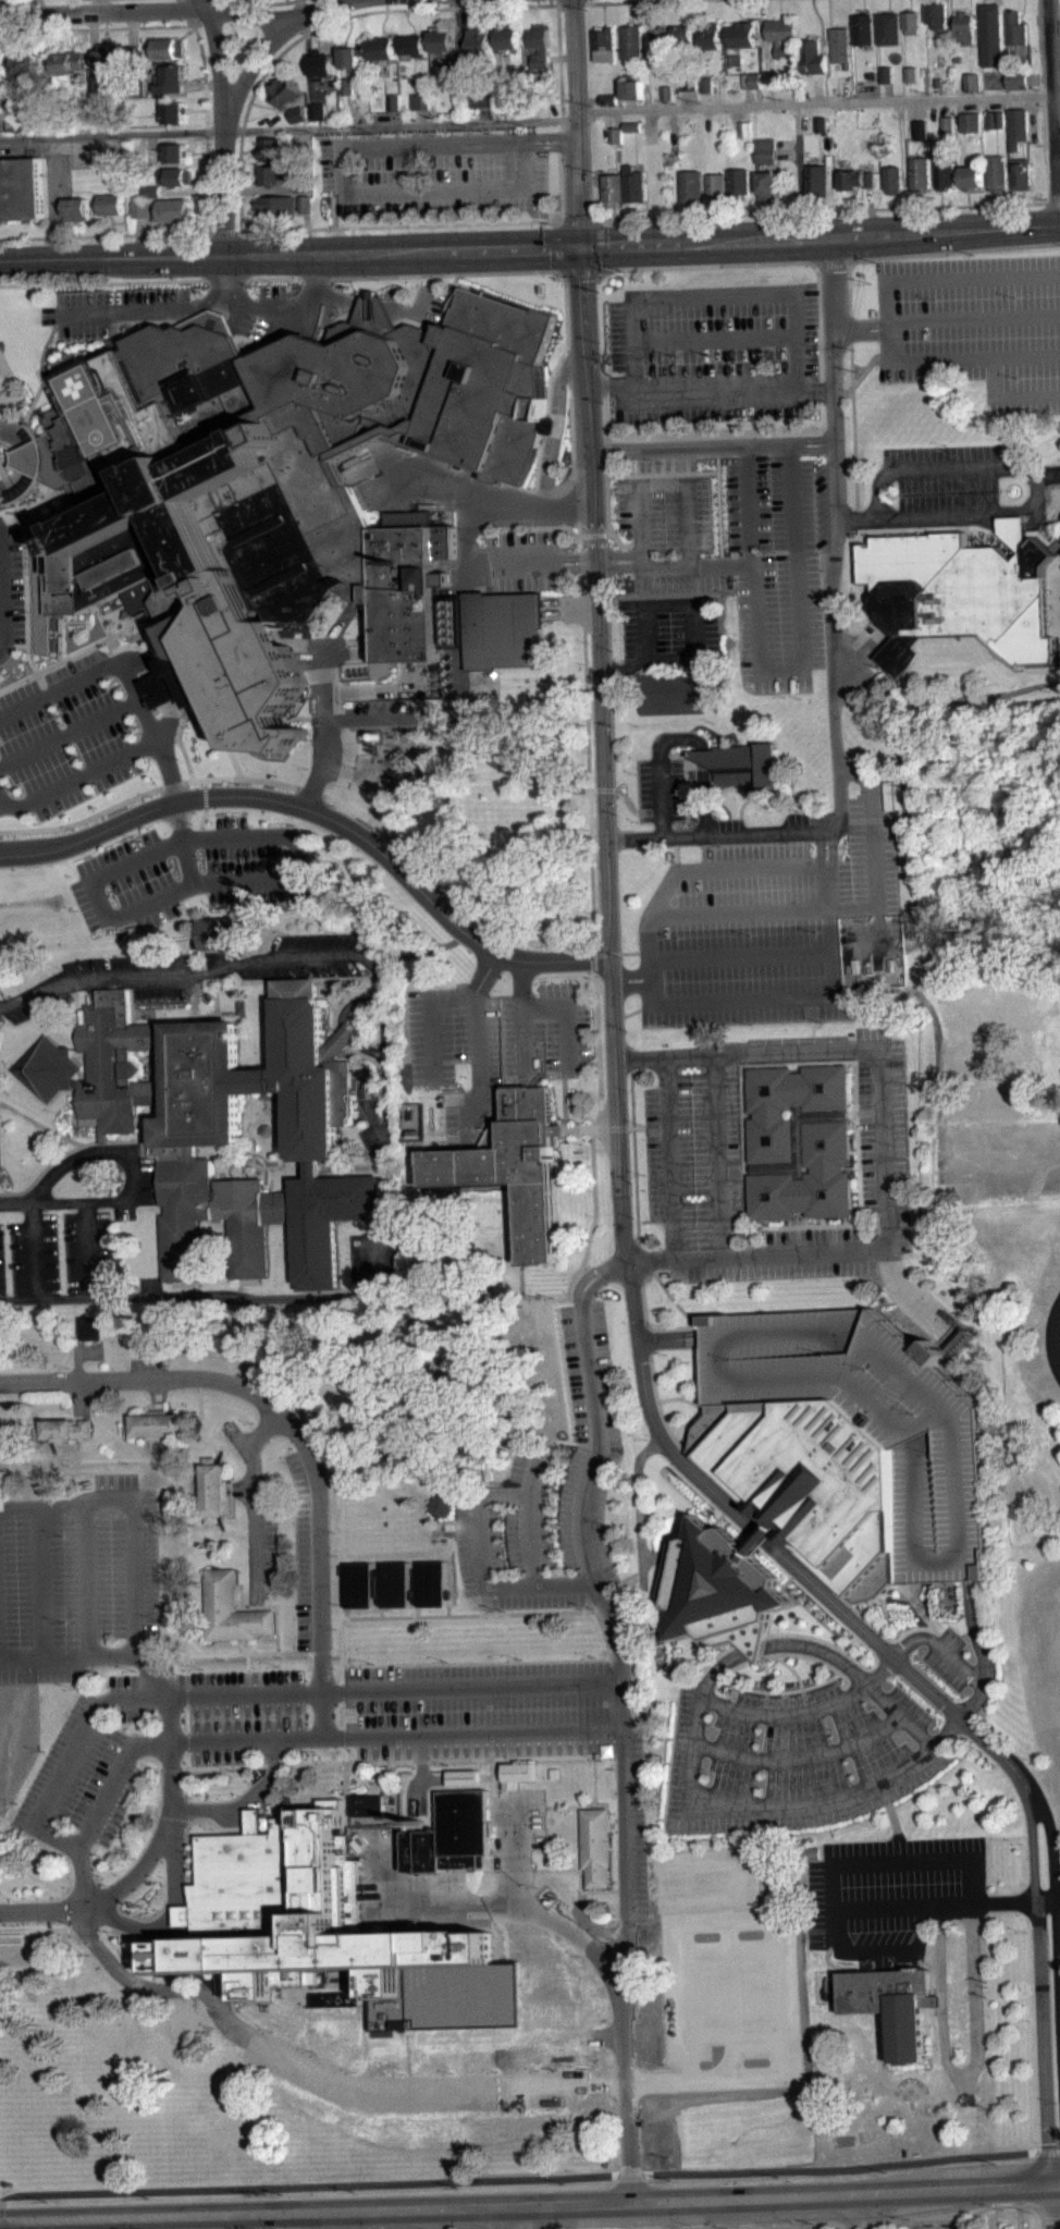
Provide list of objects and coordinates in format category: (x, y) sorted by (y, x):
road: (5, 0)
road: (334, 1)
road: (624, 1)
road: (273, 2)
road: (177, 8)
road: (427, 8)
building: (937, 13)
building: (911, 22)
building: (965, 26)
road: (132, 27)
building: (1016, 27)
building: (889, 28)
building: (863, 29)
road: (196, 32)
building: (682, 33)
building: (741, 34)
building: (708, 35)
building: (780, 35)
building: (509, 38)
building: (661, 38)
building: (631, 41)
building: (682, 41)
road: (91, 42)
building: (444, 42)
building: (415, 44)
building: (606, 44)
building: (478, 45)
building: (840, 45)
building: (540, 46)
building: (169, 48)
building: (384, 48)
road: (5, 53)
building: (133, 53)
building: (350, 56)
building: (813, 57)
building: (108, 58)
road: (309, 60)
building: (70, 62)
road: (254, 63)
building: (27, 65)
building: (323, 65)
building: (912, 73)
building: (887, 74)
building: (455, 76)
building: (172, 78)
building: (751, 79)
building: (1019, 79)
building: (95, 82)
building: (686, 82)
building: (912, 82)
building: (973, 82)
building: (706, 84)
road: (202, 85)
building: (347, 85)
road: (818, 87)
building: (751, 88)
building: (633, 89)
building: (286, 90)
building: (665, 91)
building: (687, 91)
building: (706, 93)
building: (348, 94)
building: (482, 97)
road: (756, 97)
road: (589, 99)
building: (609, 99)
building: (11, 100)
building: (420, 100)
building: (394, 101)
road: (817, 103)
road: (629, 105)
building: (609, 107)
building: (483, 108)
building: (102, 109)
road: (354, 110)
building: (394, 110)
building: (319, 111)
road: (1053, 111)
building: (177, 112)
building: (297, 113)
building: (81, 114)
road: (483, 114)
road: (422, 117)
road: (395, 118)
building: (997, 119)
building: (972, 121)
building: (298, 122)
road: (274, 123)
road: (576, 123)
building: (1020, 123)
building: (821, 124)
building: (949, 124)
road: (400, 125)
building: (633, 125)
road: (103, 126)
road: (226, 126)
building: (998, 127)
building: (747, 128)
building: (922, 128)
road: (81, 130)
building: (822, 131)
building: (948, 132)
building: (632, 133)
building: (616, 134)
road: (113, 135)
building: (745, 137)
road: (549, 139)
building: (617, 142)
road: (407, 144)
road: (151, 147)
building: (273, 149)
building: (766, 149)
building: (176, 152)
building: (947, 171)
parking lot: (434, 172)
building: (921, 172)
building: (998, 172)
building: (1023, 172)
building: (274, 174)
building: (177, 176)
building: (974, 176)
building: (817, 179)
building: (856, 179)
building: (892, 179)
building: (740, 181)
building: (634, 183)
road: (800, 183)
building: (716, 184)
building: (768, 184)
building: (690, 185)
building: (303, 186)
building: (21, 187)
road: (456, 188)
road: (260, 189)
building: (613, 189)
building: (152, 191)
road: (194, 192)
building: (301, 193)
building: (152, 198)
building: (110, 204)
building: (306, 204)
road: (545, 206)
building: (77, 208)
building: (140, 208)
building: (278, 208)
building: (174, 210)
road: (827, 210)
road: (871, 210)
road: (333, 211)
road: (577, 219)
road: (398, 224)
road: (225, 232)
road: (307, 232)
road: (107, 235)
road: (143, 237)
road: (600, 244)
road: (555, 245)
traffic signals: (579, 247)
road: (530, 248)
road: (892, 256)
road: (831, 262)
road: (705, 265)
road: (503, 272)
road: (578, 273)
road: (227, 279)
road: (887, 301)
parking lot: (113, 308)
road: (275, 308)
road: (145, 309)
road: (442, 313)
parking lot: (975, 326)
road: (860, 329)
road: (42, 354)
road: (94, 354)
road: (956, 357)
helipad: (88, 387)
road: (1006, 396)
road: (710, 400)
road: (549, 401)
road: (20, 425)
road: (15, 432)
road: (739, 432)
road: (853, 439)
road: (29, 458)
road: (39, 458)
road: (1048, 473)
parking lot: (948, 479)
road: (7, 480)
building: (278, 481)
road: (16, 483)
road: (485, 495)
road: (7, 498)
road: (875, 504)
road: (839, 511)
road: (689, 514)
road: (856, 515)
road: (639, 516)
road: (1048, 523)
road: (921, 528)
road: (467, 537)
road: (867, 537)
road: (982, 537)
parking lot: (720, 556)
road: (617, 560)
road: (543, 562)
road: (754, 565)
road: (722, 566)
road: (666, 567)
road: (26, 568)
road: (797, 583)
road: (3, 591)
building: (958, 592)
road: (667, 605)
building: (502, 628)
road: (135, 647)
road: (99, 670)
road: (328, 675)
road: (160, 688)
building: (674, 693)
parking lot: (66, 697)
road: (926, 712)
road: (330, 725)
road: (69, 732)
road: (602, 748)
building: (742, 764)
road: (661, 766)
road: (171, 774)
road: (526, 779)
road: (177, 784)
parking lot: (661, 785)
road: (703, 799)
road: (747, 834)
road: (725, 869)
road: (827, 869)
road: (455, 902)
road: (852, 908)
parking lot: (774, 923)
building: (221, 933)
parking lot: (304, 957)
road: (731, 957)
parking lot: (133, 973)
road: (632, 980)
road: (518, 982)
road: (745, 1000)
parking lot: (19, 1008)
road: (566, 1018)
road: (481, 1045)
parking lot: (511, 1048)
building: (99, 1069)
building: (305, 1073)
road: (254, 1122)
road: (387, 1127)
road: (132, 1141)
building: (800, 1141)
road: (95, 1143)
road: (82, 1146)
parking lot: (693, 1147)
road: (886, 1147)
road: (113, 1148)
building: (173, 1153)
road: (718, 1155)
road: (669, 1156)
road: (229, 1163)
road: (245, 1163)
building: (513, 1165)
road: (272, 1166)
road: (17, 1201)
road: (59, 1202)
road: (87, 1249)
road: (36, 1251)
parking lot: (59, 1256)
road: (671, 1298)
road: (920, 1307)
road: (646, 1320)
building: (93, 1335)
road: (668, 1338)
road: (1053, 1342)
road: (655, 1388)
road: (278, 1414)
parking lot: (872, 1417)
building: (158, 1425)
building: (64, 1429)
road: (60, 1450)
road: (93, 1459)
road: (694, 1461)
road: (36, 1477)
building: (212, 1490)
road: (251, 1493)
parking lot: (549, 1496)
road: (182, 1499)
road: (338, 1501)
building: (442, 1505)
road: (640, 1512)
building: (786, 1514)
road: (145, 1522)
road: (529, 1541)
road: (767, 1542)
road: (480, 1545)
parking lot: (301, 1547)
road: (88, 1553)
road: (655, 1557)
road: (803, 1561)
parking lot: (87, 1576)
building: (395, 1584)
road: (835, 1592)
road: (263, 1605)
road: (239, 1606)
building: (231, 1608)
road: (184, 1622)
road: (913, 1628)
road: (977, 1632)
road: (774, 1636)
road: (273, 1640)
road: (255, 1643)
road: (805, 1648)
road: (113, 1651)
road: (321, 1651)
road: (280, 1652)
road: (21, 1653)
road: (185, 1654)
road: (775, 1654)
parking lot: (949, 1658)
road: (954, 1661)
road: (342, 1662)
road: (793, 1669)
road: (767, 1673)
road: (463, 1688)
road: (186, 1689)
road: (782, 1690)
road: (343, 1692)
road: (237, 1694)
parking lot: (480, 1709)
road: (809, 1712)
road: (343, 1714)
parking lot: (244, 1715)
road: (323, 1715)
road: (620, 1717)
road: (186, 1719)
road: (85, 1732)
road: (465, 1734)
road: (344, 1737)
road: (239, 1739)
road: (187, 1741)
road: (825, 1750)
parking lot: (801, 1752)
road: (344, 1754)
road: (521, 1758)
road: (131, 1759)
road: (187, 1759)
road: (389, 1761)
road: (271, 1764)
road: (147, 1767)
road: (208, 1767)
parking lot: (90, 1768)
road: (172, 1768)
road: (594, 1769)
building: (518, 1773)
building: (465, 1777)
road: (371, 1786)
road: (346, 1790)
road: (247, 1804)
building: (368, 1804)
road: (593, 1804)
road: (779, 1805)
road: (102, 1807)
road: (114, 1807)
road: (530, 1807)
road: (141, 1813)
road: (188, 1820)
road: (578, 1821)
parking lot: (638, 1823)
road: (186, 1833)
building: (451, 1834)
road: (93, 1839)
building: (595, 1846)
road: (94, 1862)
road: (525, 1870)
road: (137, 1871)
road: (580, 1874)
road: (1057, 1895)
road: (831, 1896)
road: (1045, 1897)
road: (469, 1902)
road: (1055, 1905)
building: (294, 1914)
road: (98, 1919)
road: (165, 1921)
road: (920, 1925)
road: (835, 1928)
road: (35, 1931)
road: (574, 1934)
road: (143, 1939)
road: (118, 1947)
road: (879, 1948)
road: (136, 1956)
building: (705, 1972)
road: (1038, 1980)
road: (405, 1988)
building: (893, 2004)
building: (336, 2007)
road: (263, 2026)
parking lot: (442, 2033)
road: (323, 2042)
road: (1048, 2151)
road: (516, 2178)
road: (530, 2207)
road: (1051, 2209)
road: (868, 2213)
road: (673, 2216)
road: (963, 2216)
road: (1056, 2217)
road: (1046, 2218)
road: (496, 2219)
road: (224, 2221)
road: (831, 2225)
road: (714, 2226)

